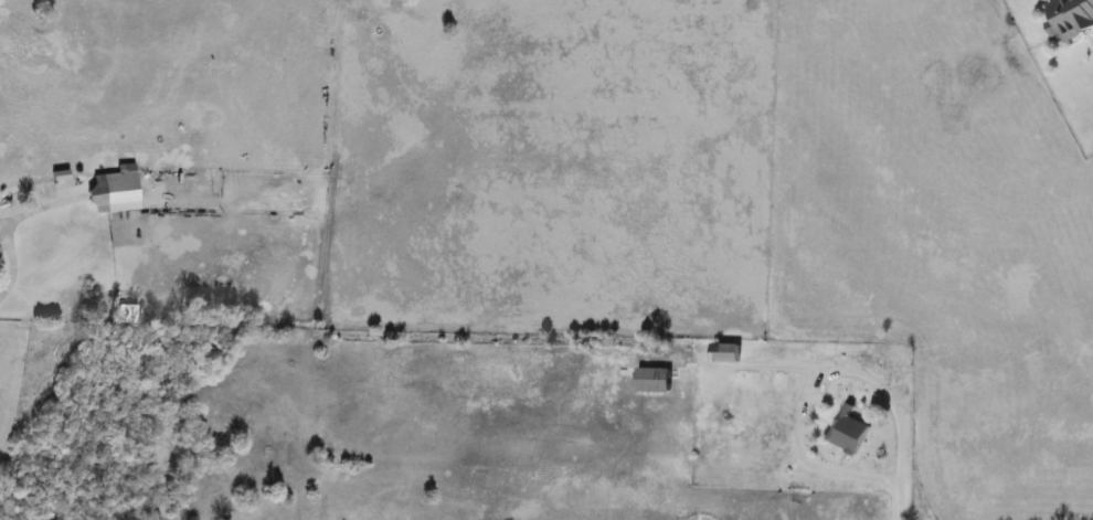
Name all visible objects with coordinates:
building: (1070, 18)
building: (119, 192)
road: (13, 275)
building: (725, 354)
building: (654, 382)
road: (804, 385)
building: (848, 433)
road: (888, 499)

